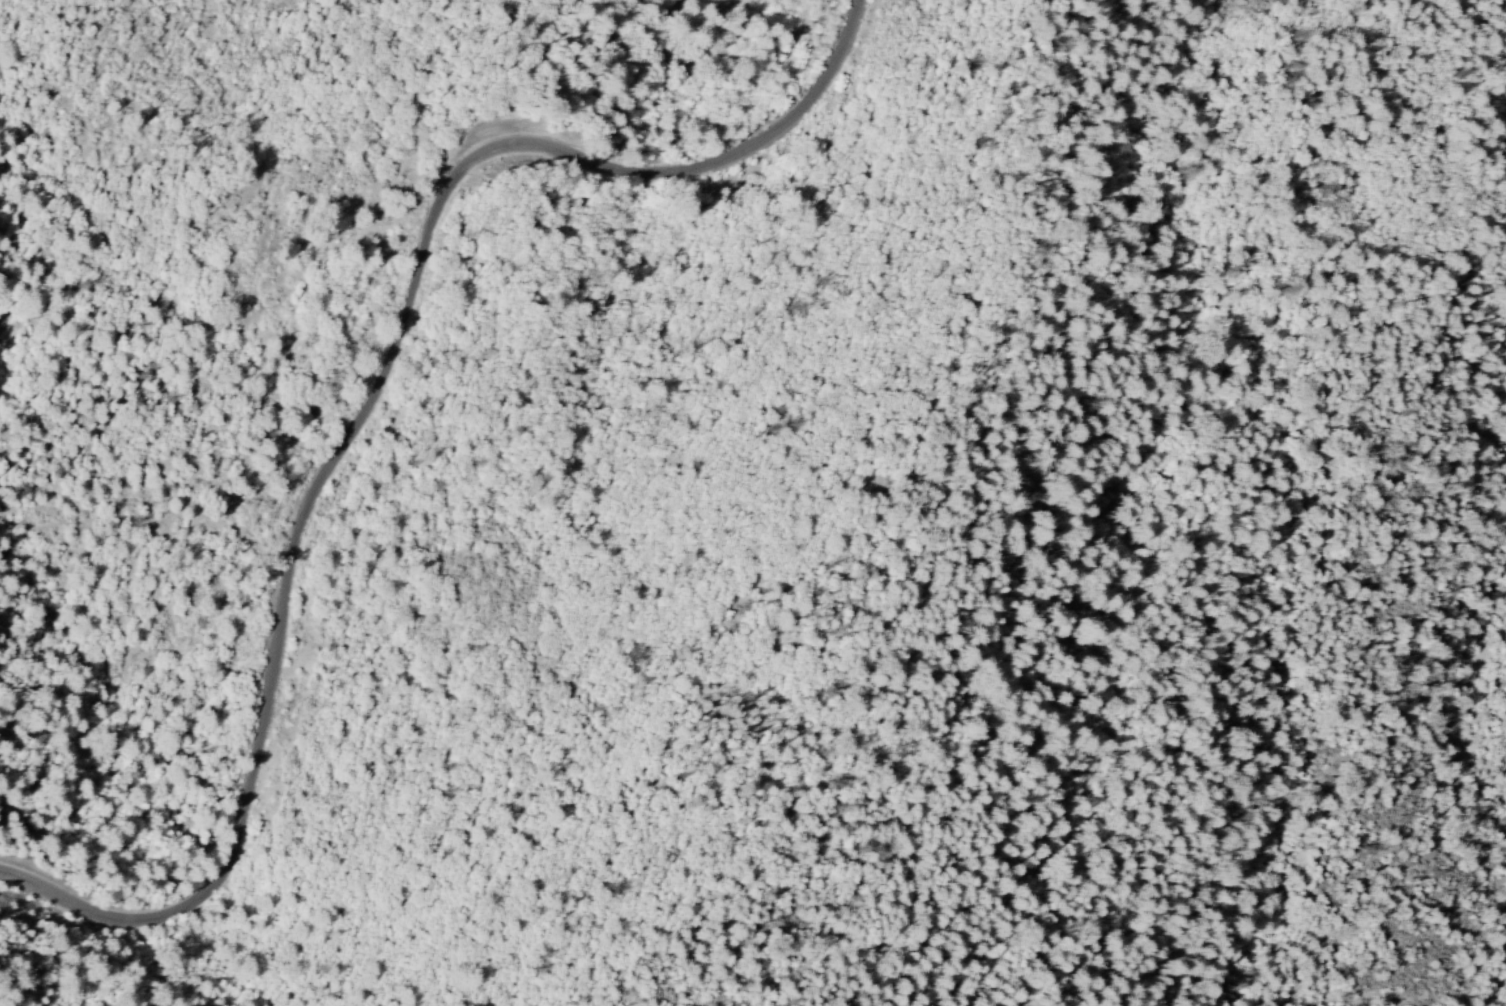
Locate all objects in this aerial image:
road: (378, 416)

